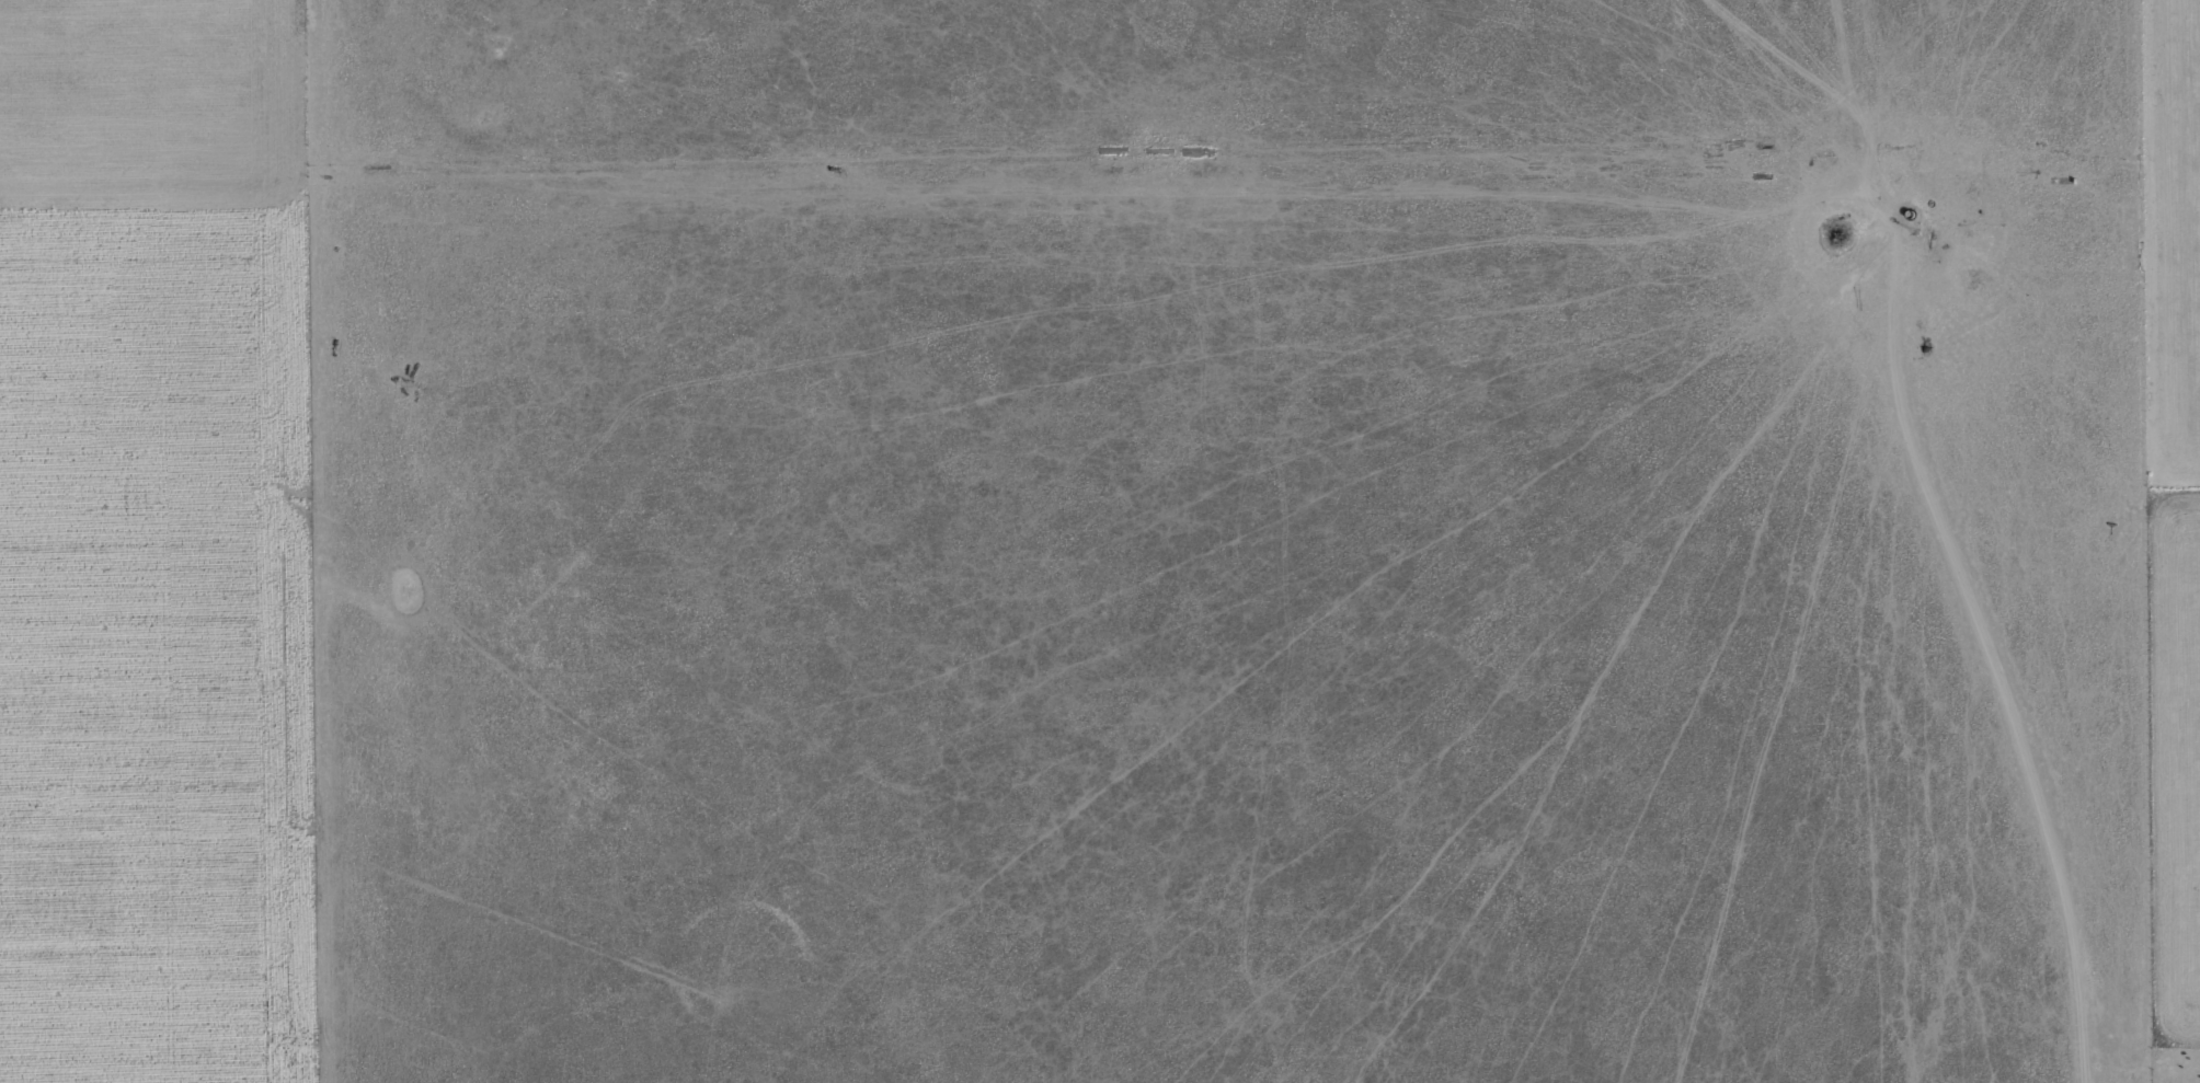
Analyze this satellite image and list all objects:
road: (2102, 541)

